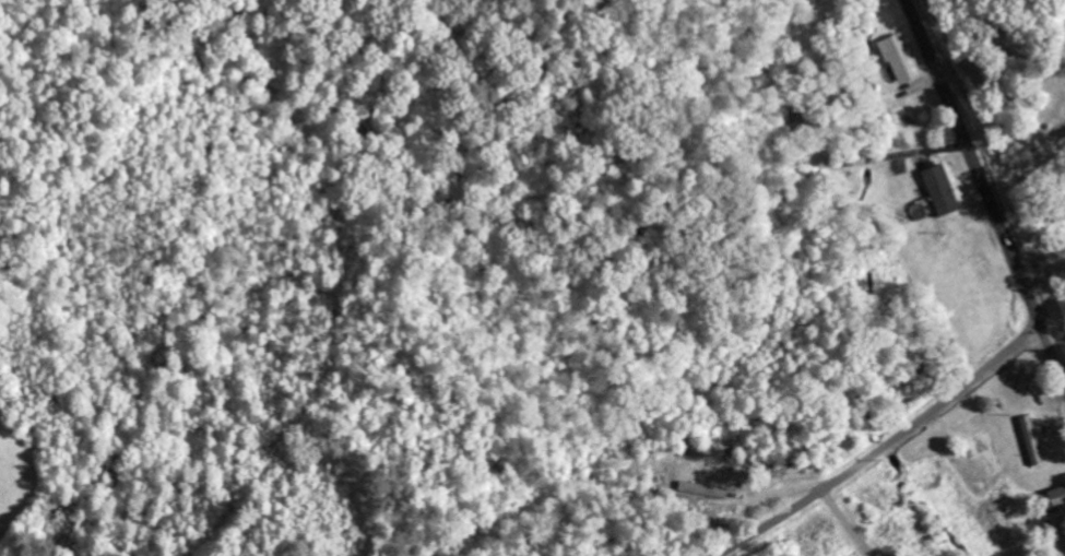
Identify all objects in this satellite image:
building: (895, 62)
road: (986, 191)
building: (937, 193)
building: (1028, 441)
road: (886, 446)
building: (700, 492)
building: (1054, 498)

